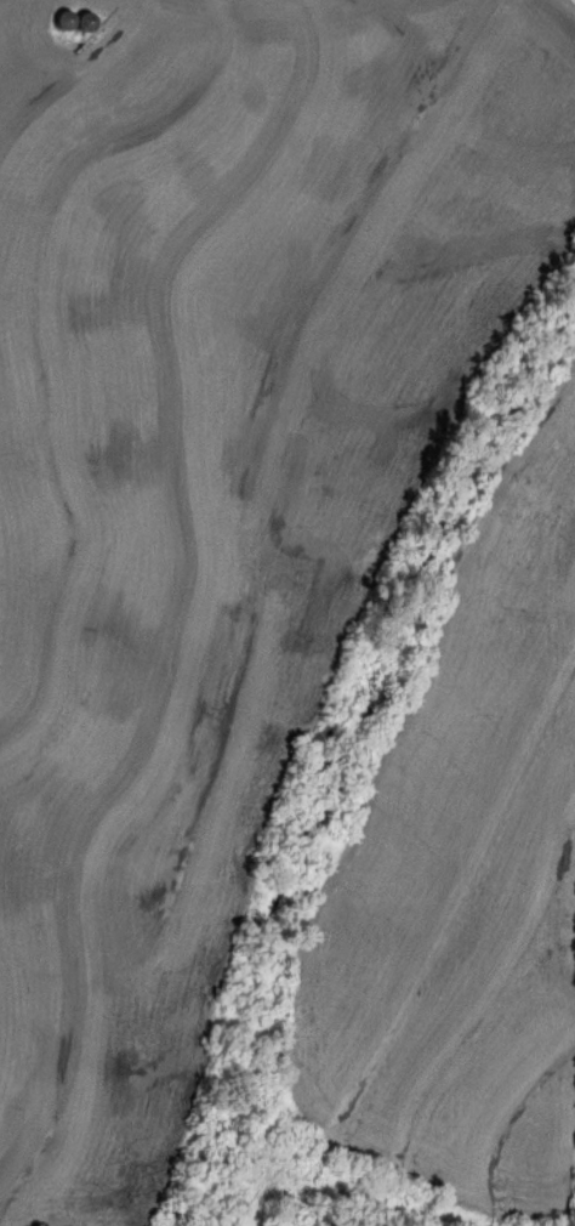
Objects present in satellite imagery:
building: (72, 22)

